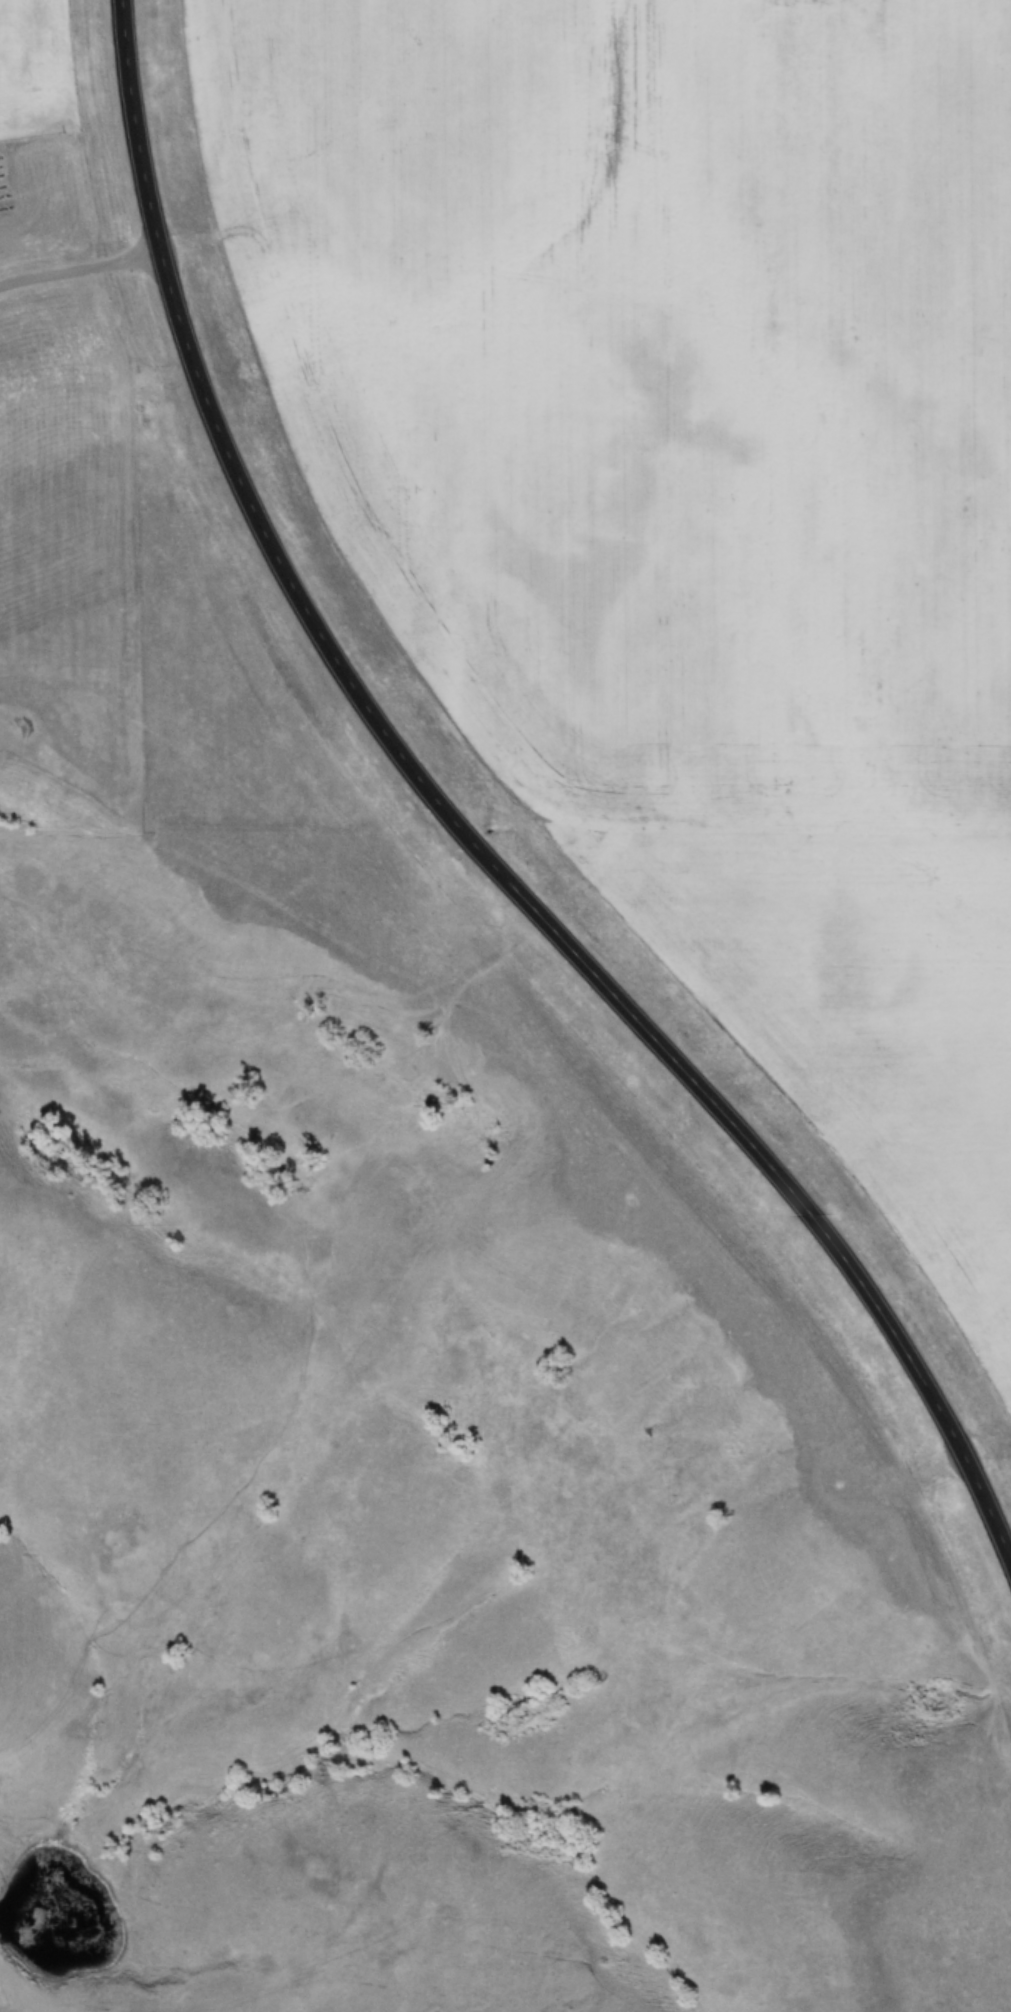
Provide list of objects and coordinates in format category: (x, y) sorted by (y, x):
road: (79, 266)
road: (462, 841)

